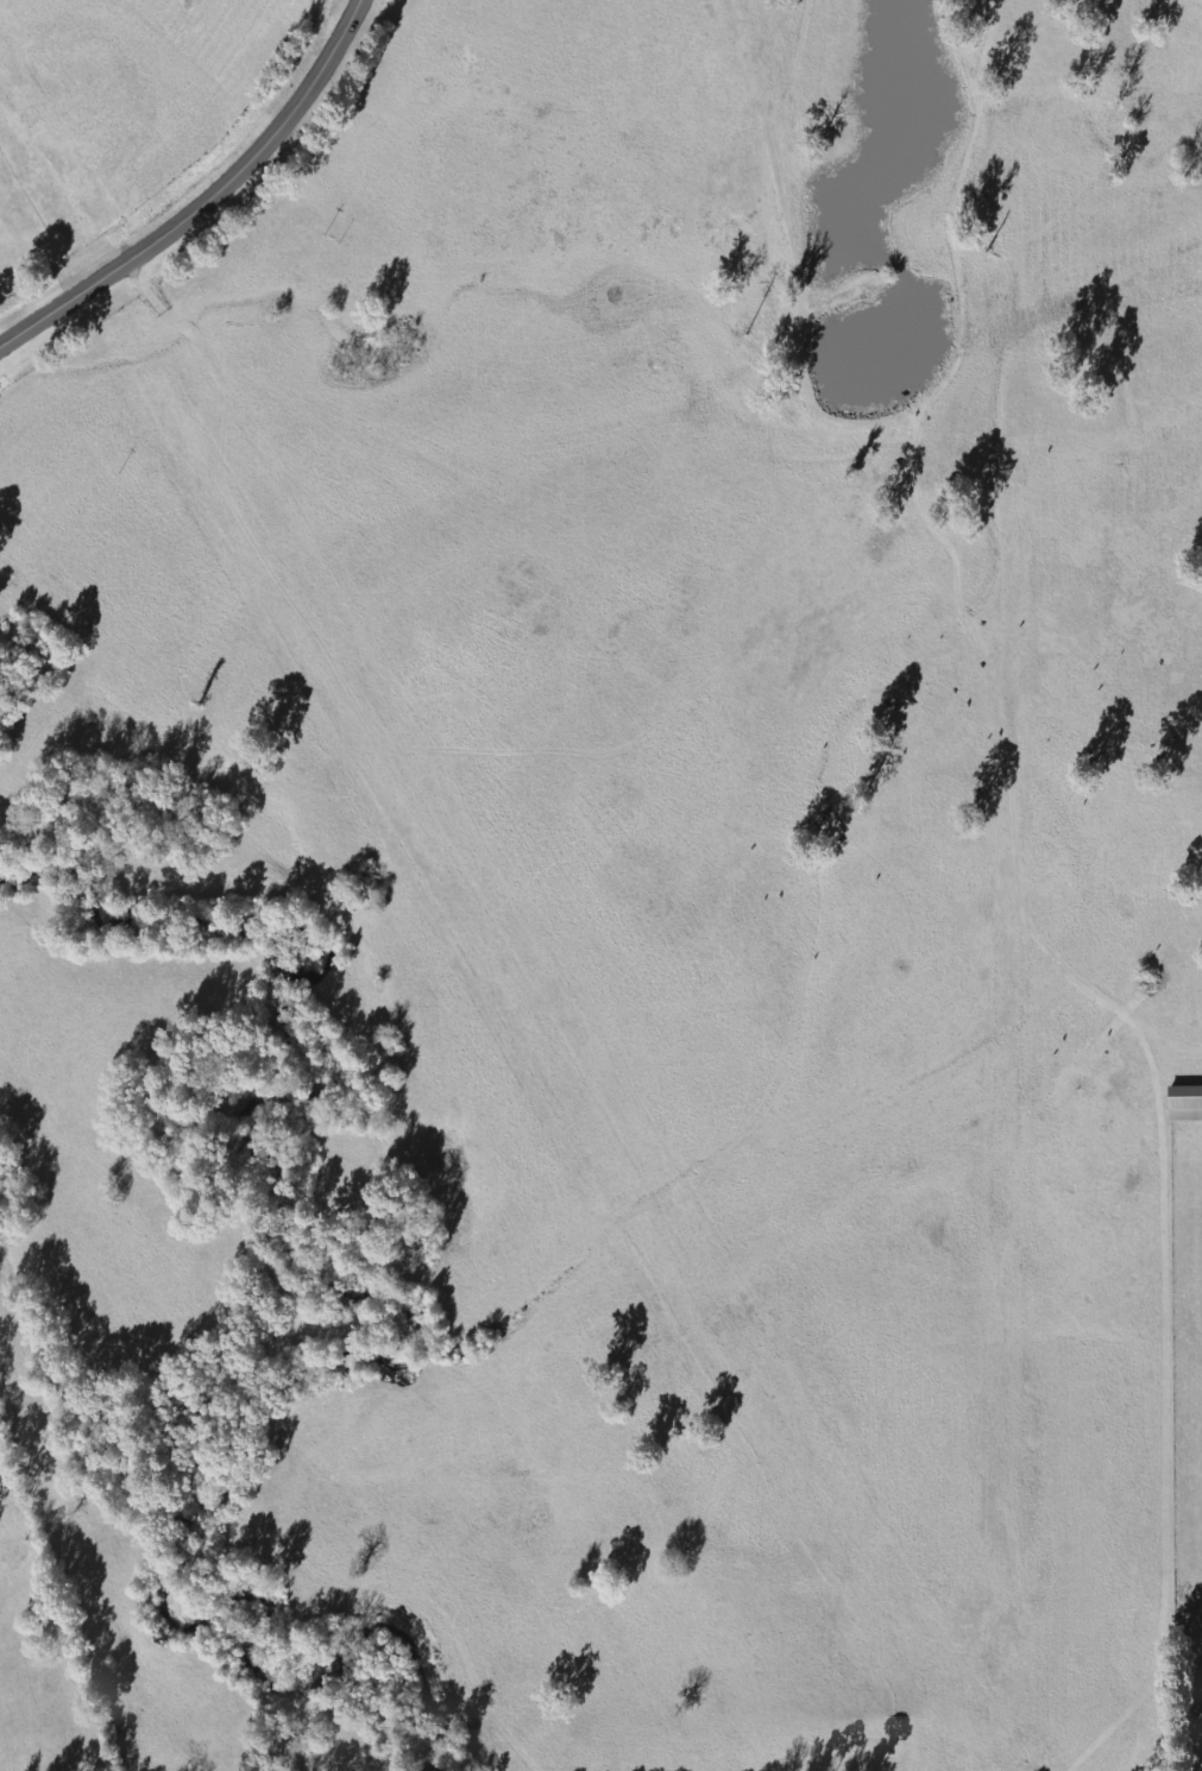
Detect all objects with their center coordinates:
road: (204, 198)
building: (1184, 1104)

